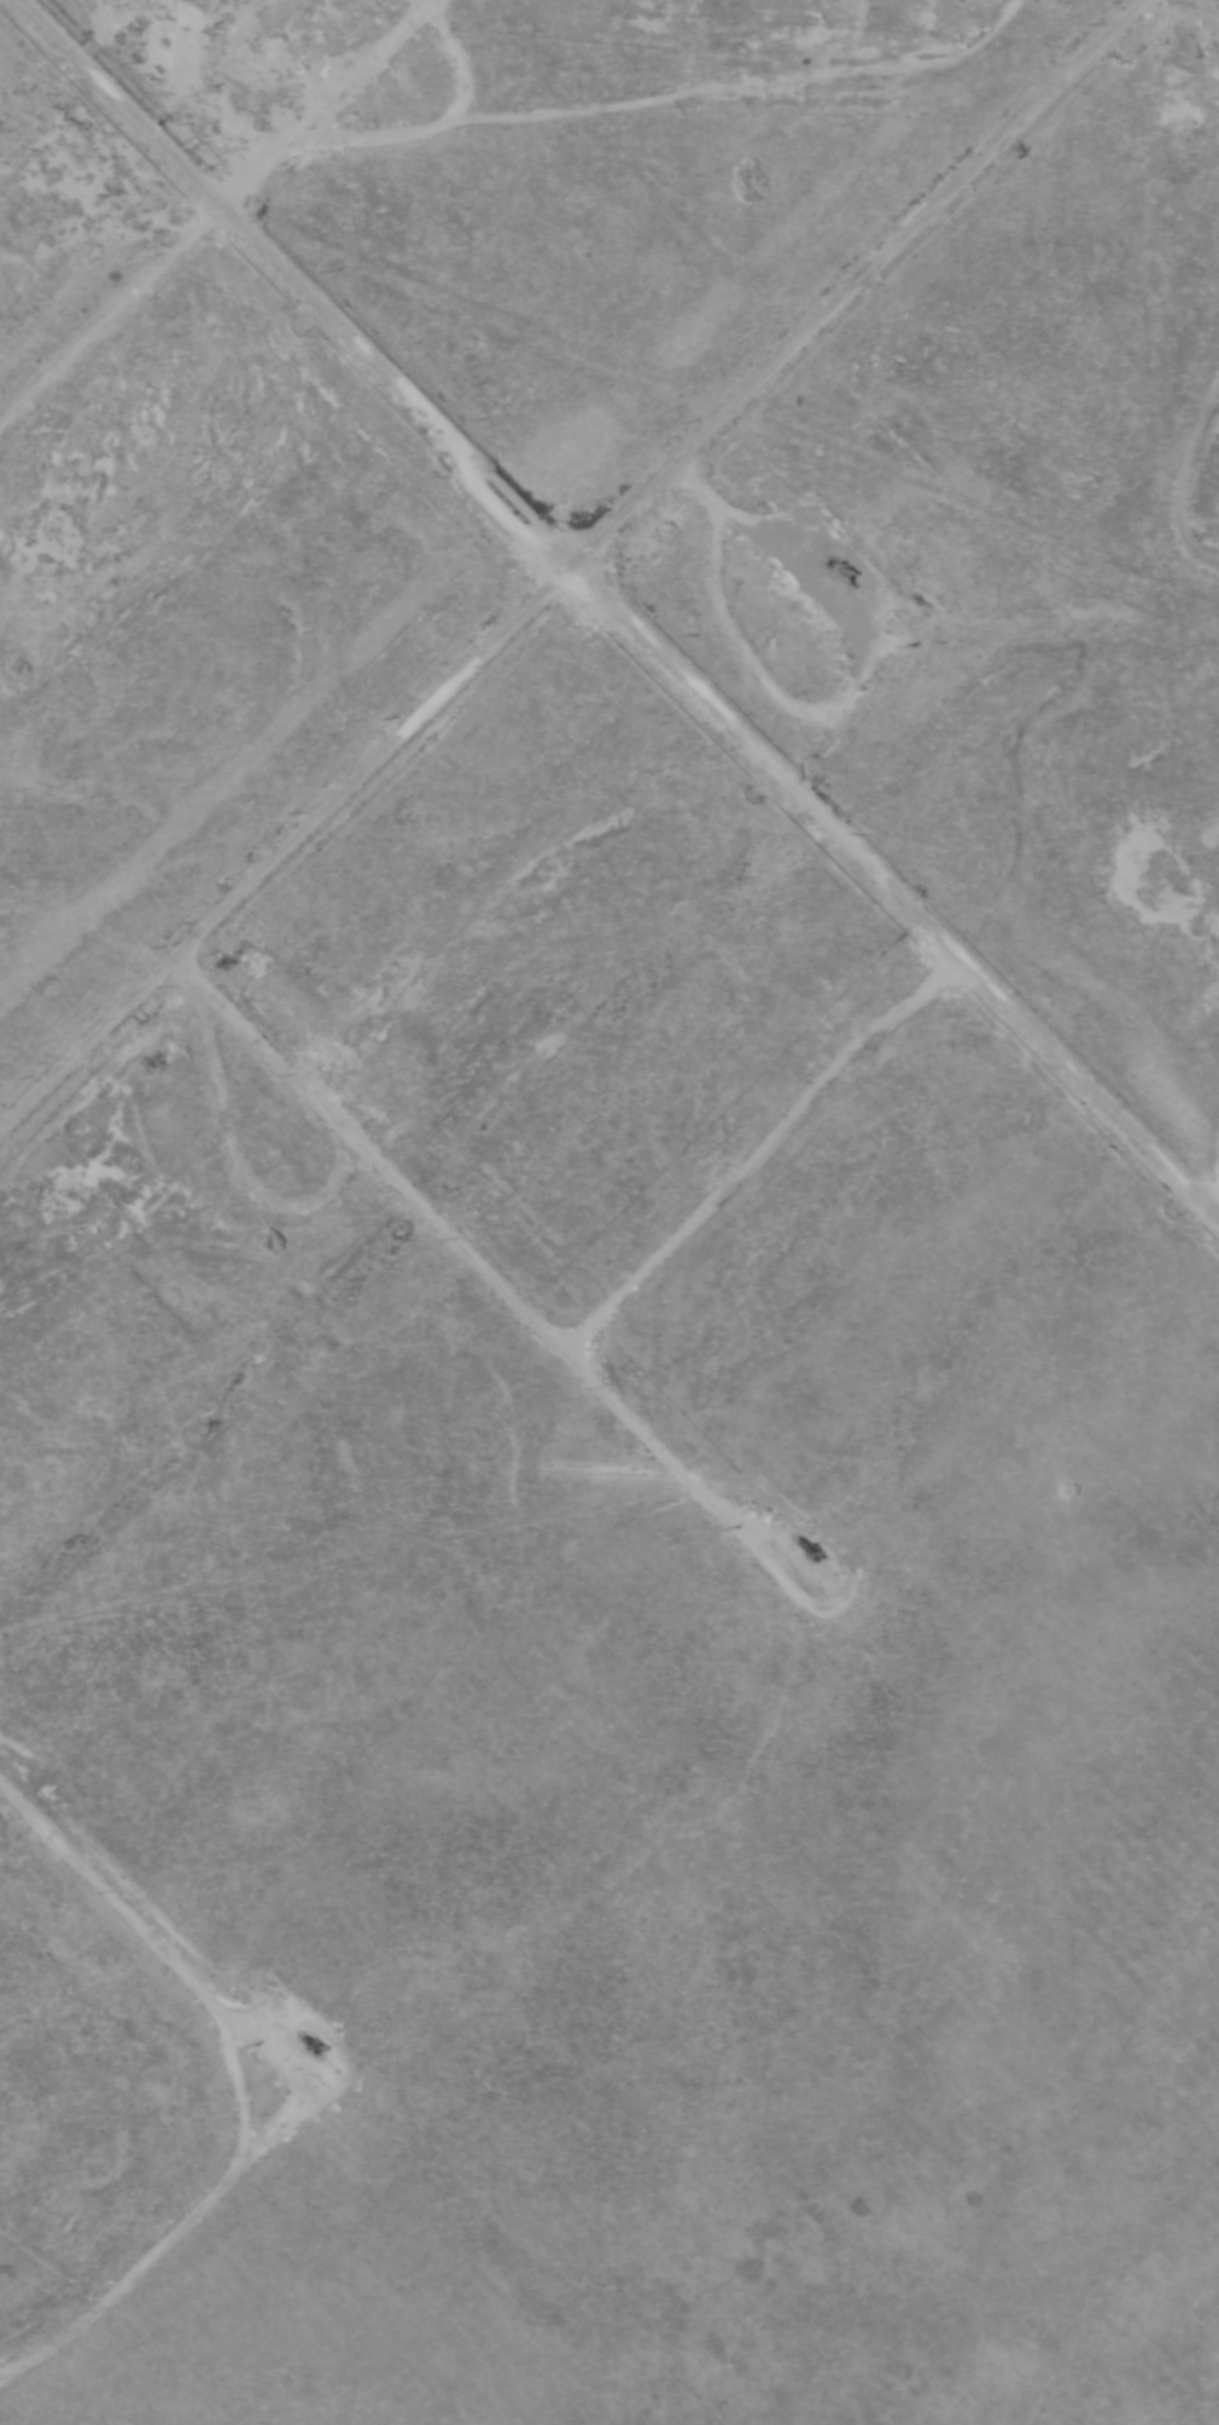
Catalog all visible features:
road: (1209, 8)
road: (199, 204)
road: (1196, 456)
road: (643, 474)
road: (606, 606)
road: (380, 1164)
road: (1211, 1214)
road: (302, 2071)

